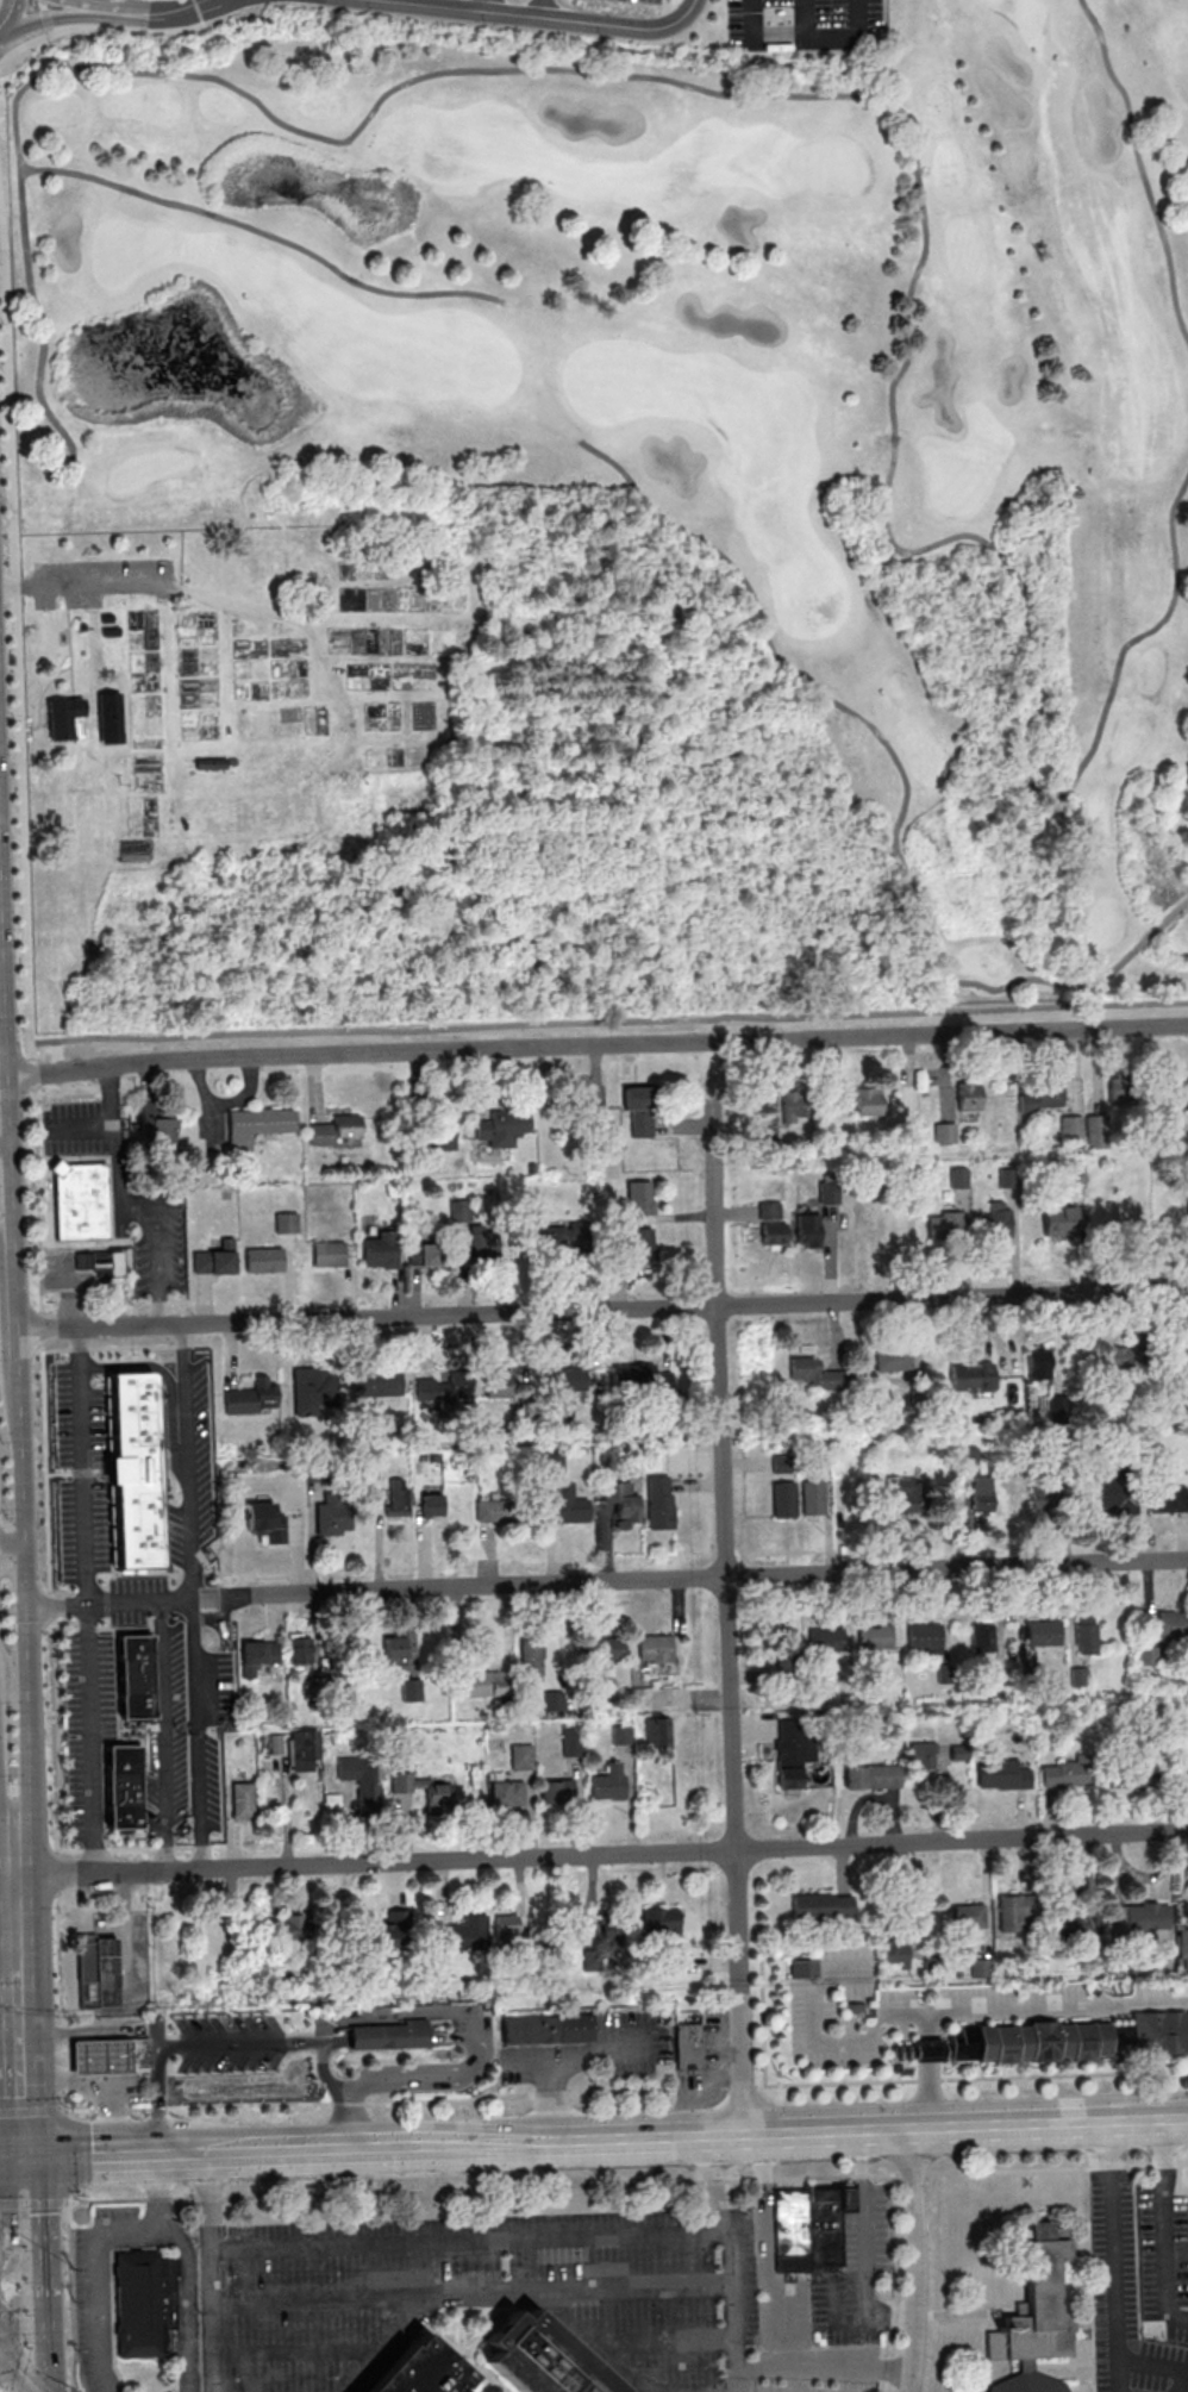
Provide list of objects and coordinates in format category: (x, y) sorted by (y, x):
parking lot: (642, 2)
road: (124, 8)
road: (11, 11)
road: (198, 12)
road: (187, 15)
road: (45, 17)
road: (542, 18)
road: (85, 21)
road: (751, 21)
road: (96, 25)
parking lot: (805, 25)
road: (4, 26)
park: (470, 30)
road: (831, 42)
road: (779, 43)
road: (840, 98)
road: (1140, 163)
road: (265, 235)
park: (698, 382)
parking lot: (99, 582)
road: (85, 583)
road: (15, 629)
road: (768, 648)
road: (71, 687)
road: (42, 689)
building: (63, 716)
road: (82, 722)
road: (35, 726)
road: (395, 741)
building: (212, 763)
road: (682, 766)
road: (306, 787)
park: (439, 787)
road: (846, 807)
road: (918, 898)
road: (1053, 983)
road: (608, 1020)
road: (596, 1041)
road: (6, 1055)
building: (1123, 1089)
building: (1176, 1092)
building: (1043, 1094)
road: (68, 1095)
building: (969, 1095)
building: (869, 1100)
building: (799, 1105)
building: (639, 1110)
building: (581, 1112)
road: (4, 1120)
road: (110, 1125)
building: (257, 1125)
building: (158, 1126)
building: (504, 1128)
building: (338, 1131)
building: (1096, 1131)
building: (442, 1132)
building: (946, 1132)
building: (1073, 1132)
building: (959, 1178)
building: (830, 1192)
building: (640, 1198)
building: (81, 1200)
building: (459, 1211)
road: (155, 1217)
building: (996, 1220)
building: (1061, 1220)
building: (945, 1224)
building: (871, 1229)
building: (808, 1230)
building: (775, 1235)
building: (559, 1238)
road: (6, 1241)
building: (643, 1244)
building: (484, 1245)
building: (380, 1250)
building: (330, 1254)
building: (426, 1254)
building: (215, 1260)
building: (263, 1260)
building: (100, 1263)
road: (118, 1287)
road: (601, 1310)
road: (15, 1345)
building: (1186, 1357)
building: (894, 1359)
building: (1121, 1360)
building: (1040, 1364)
building: (818, 1374)
building: (973, 1376)
building: (565, 1379)
building: (627, 1379)
building: (662, 1380)
building: (511, 1382)
building: (376, 1384)
building: (439, 1388)
building: (312, 1392)
building: (252, 1397)
road: (185, 1463)
road: (80, 1468)
road: (48, 1475)
building: (1114, 1492)
building: (1042, 1493)
building: (907, 1494)
building: (982, 1497)
building: (813, 1498)
building: (784, 1499)
building: (1168, 1499)
building: (661, 1501)
building: (570, 1503)
building: (624, 1503)
building: (414, 1505)
building: (494, 1510)
building: (329, 1517)
building: (265, 1522)
road: (605, 1582)
road: (10, 1588)
road: (100, 1622)
road: (729, 1622)
building: (1173, 1625)
building: (1042, 1632)
building: (923, 1636)
building: (1087, 1636)
building: (873, 1637)
building: (982, 1637)
building: (825, 1638)
building: (784, 1642)
building: (300, 1648)
building: (395, 1648)
building: (608, 1648)
building: (656, 1648)
building: (258, 1655)
building: (532, 1660)
road: (25, 1666)
road: (192, 1667)
building: (136, 1676)
building: (484, 1684)
building: (412, 1690)
building: (554, 1700)
building: (658, 1732)
building: (621, 1735)
road: (163, 1736)
road: (90, 1737)
building: (571, 1742)
building: (304, 1749)
building: (924, 1755)
building: (523, 1756)
building: (790, 1760)
building: (1132, 1768)
building: (1182, 1770)
building: (1003, 1774)
building: (1067, 1774)
building: (873, 1776)
building: (363, 1780)
building: (609, 1782)
building: (124, 1786)
building: (423, 1787)
building: (557, 1792)
building: (508, 1793)
building: (243, 1801)
building: (332, 1801)
road: (198, 1803)
road: (125, 1848)
road: (694, 1851)
road: (5, 1859)
road: (185, 1870)
road: (89, 1874)
road: (11, 1886)
building: (824, 1906)
building: (1015, 1912)
building: (967, 1916)
building: (1146, 1918)
building: (661, 1922)
building: (1077, 1924)
building: (301, 1925)
building: (507, 1926)
building: (613, 1926)
building: (577, 1928)
building: (390, 1931)
road: (13, 1934)
building: (463, 1935)
building: (1182, 1946)
building: (896, 1953)
building: (933, 1966)
building: (982, 1967)
building: (805, 1968)
building: (98, 1972)
road: (8, 1981)
road: (61, 2001)
road: (1043, 2009)
road: (448, 2012)
road: (763, 2019)
building: (550, 2029)
building: (389, 2035)
road: (818, 2040)
building: (1073, 2040)
road: (190, 2047)
building: (689, 2047)
building: (927, 2050)
road: (926, 2051)
building: (138, 2054)
building: (99, 2057)
building: (198, 2059)
road: (19, 2063)
road: (971, 2079)
road: (927, 2096)
road: (379, 2101)
road: (354, 2117)
road: (733, 2136)
road: (254, 2151)
road: (68, 2153)
road: (200, 2153)
road: (96, 2156)
road: (10, 2160)
traffic signals: (20, 2160)
road: (626, 2182)
building: (809, 2225)
road: (1161, 2228)
road: (513, 2236)
road: (862, 2247)
road: (96, 2252)
road: (894, 2257)
road: (1115, 2257)
road: (917, 2261)
road: (210, 2272)
road: (2, 2273)
road: (45, 2273)
road: (71, 2292)
road: (520, 2293)
building: (146, 2304)
road: (734, 2310)
building: (1036, 2313)
building: (544, 2360)
traffic signals: (5, 2368)
building: (421, 2371)
road: (823, 2371)
road: (12, 2377)

